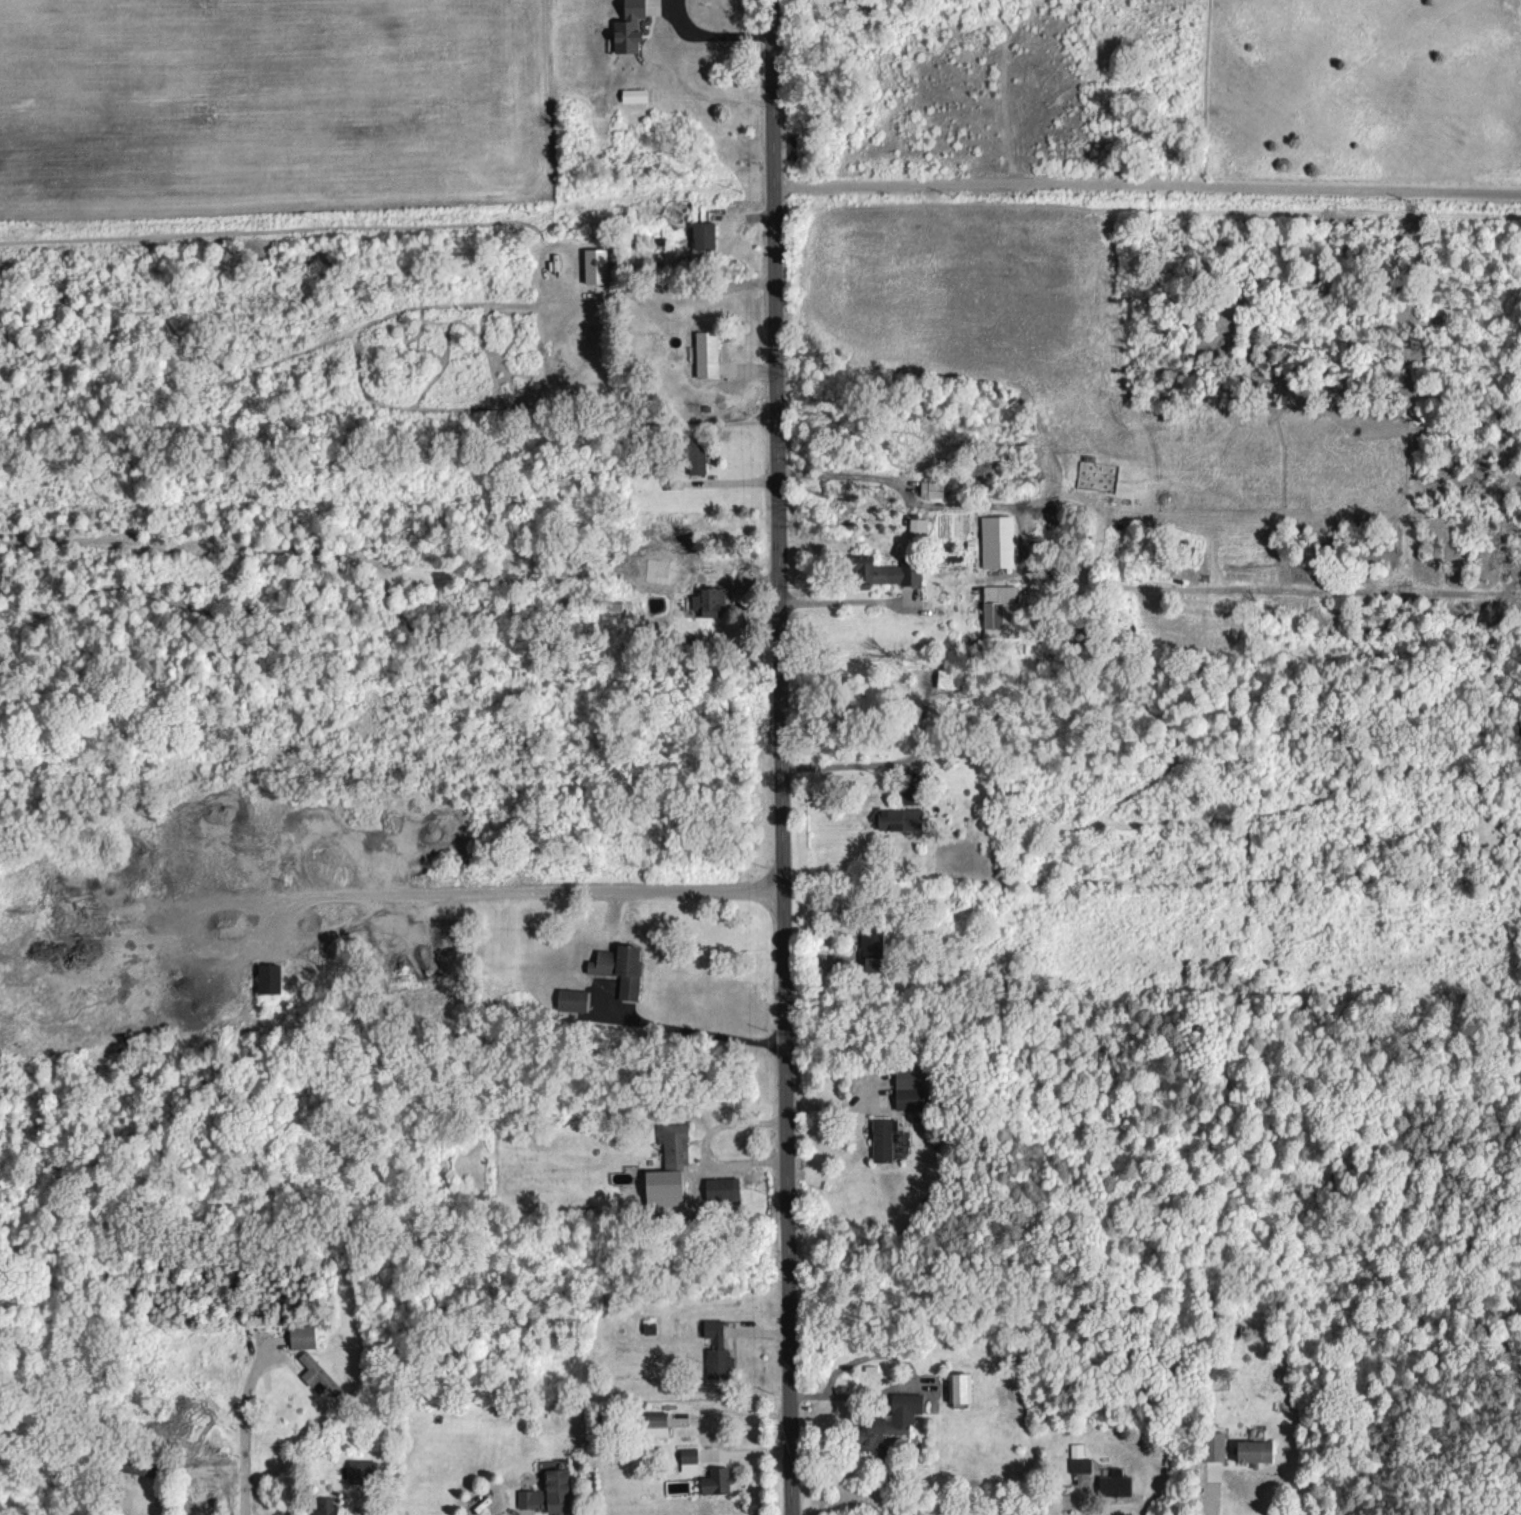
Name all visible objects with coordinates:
road: (717, 20)
building: (626, 26)
building: (633, 95)
road: (1147, 182)
building: (701, 235)
building: (594, 266)
building: (705, 354)
building: (693, 455)
road: (835, 476)
building: (929, 489)
building: (917, 526)
building: (996, 541)
building: (883, 572)
building: (707, 601)
building: (997, 607)
road: (780, 757)
road: (849, 764)
building: (898, 819)
road: (516, 885)
building: (618, 969)
building: (267, 979)
building: (570, 1000)
road: (696, 1031)
building: (910, 1089)
building: (882, 1138)
building: (673, 1145)
building: (660, 1188)
building: (721, 1189)
building: (302, 1336)
building: (715, 1351)
building: (317, 1375)
building: (959, 1388)
building: (888, 1421)
building: (655, 1424)
road: (248, 1428)
building: (1212, 1445)
building: (1253, 1452)
building: (1079, 1459)
building: (689, 1460)
building: (361, 1470)
building: (715, 1481)
building: (1113, 1483)
road: (1205, 1489)
building: (546, 1493)
building: (325, 1507)

